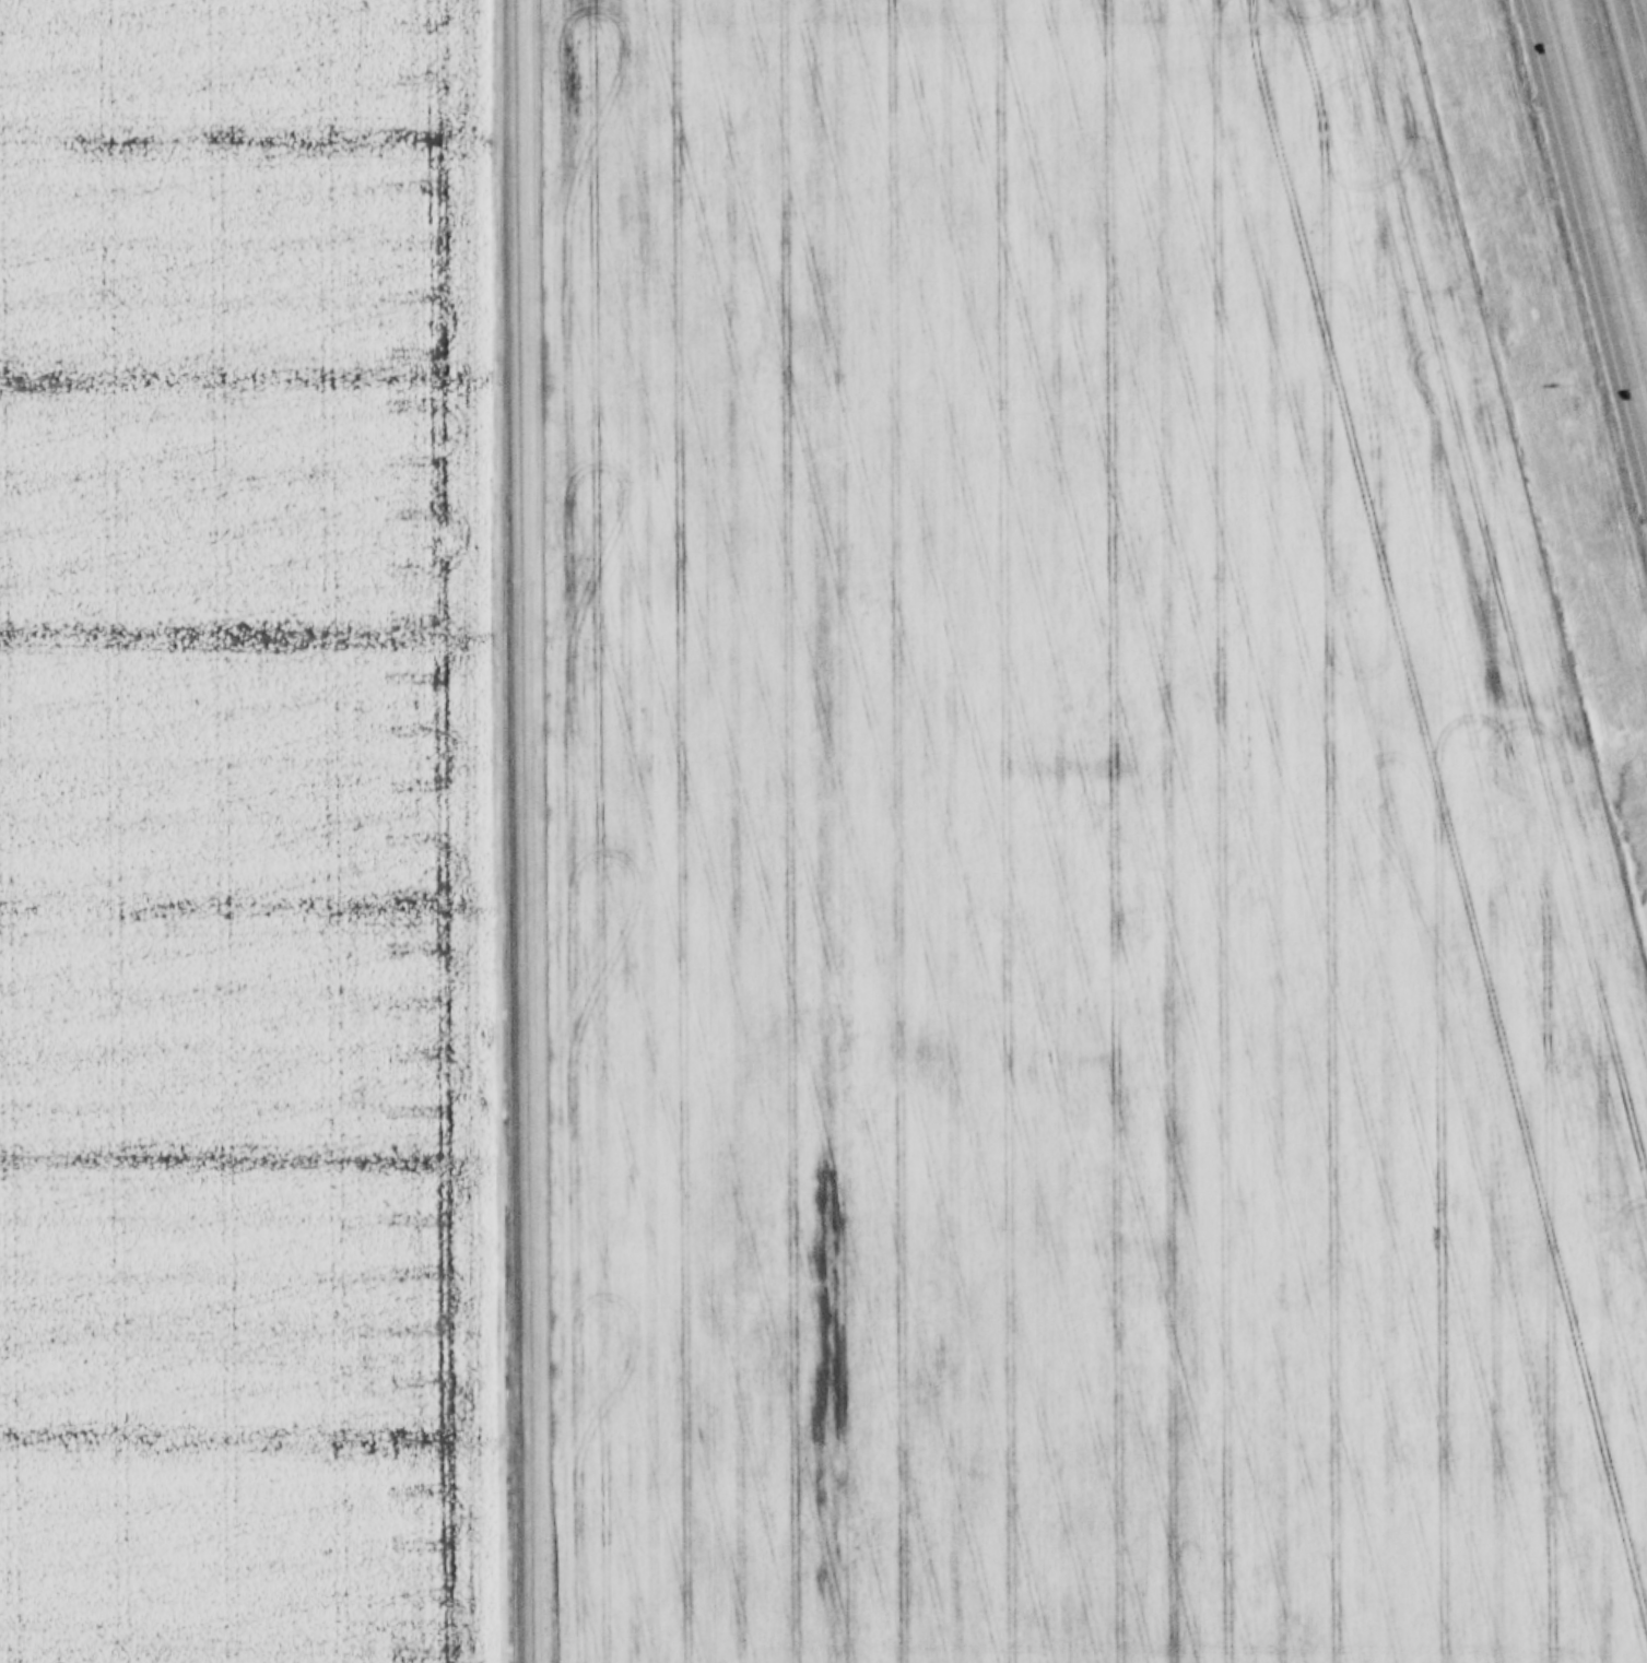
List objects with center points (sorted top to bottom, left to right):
road: (1634, 50)
road: (1586, 232)
road: (532, 830)
crop: (239, 834)
crop: (1073, 864)

